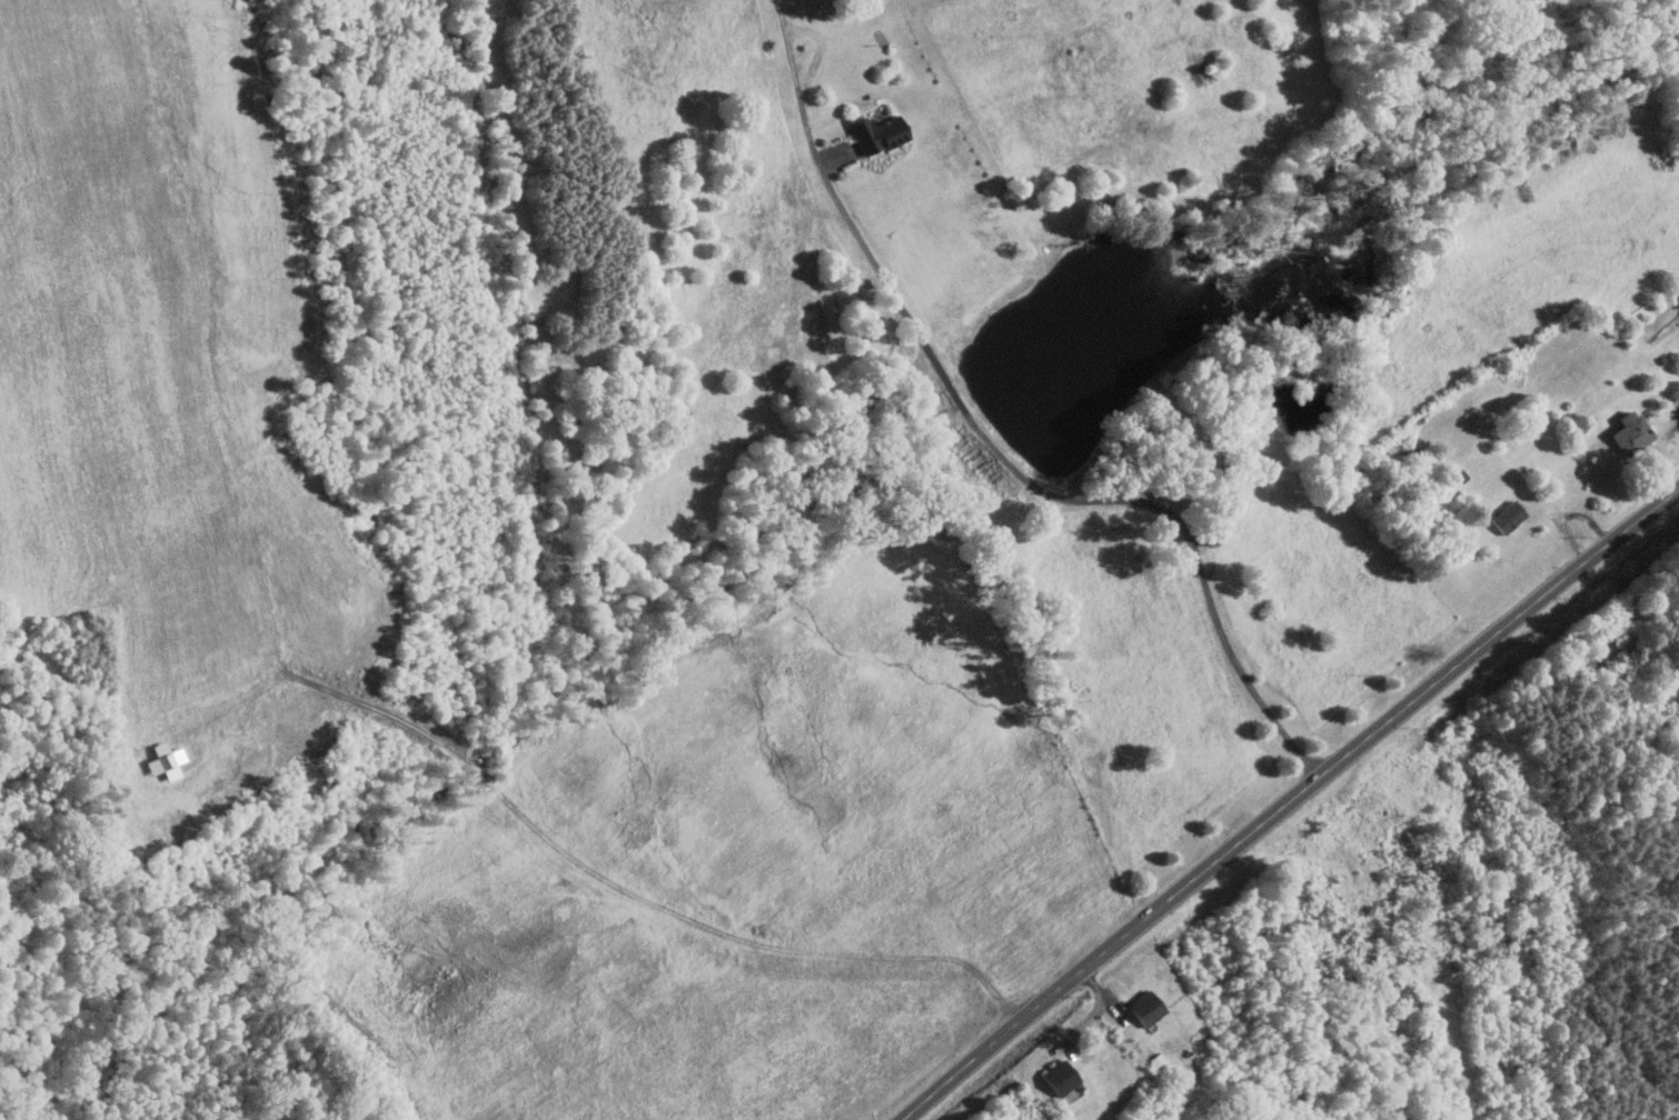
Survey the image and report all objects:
building: (875, 133)
building: (1631, 432)
road: (995, 450)
building: (1508, 516)
road: (379, 711)
building: (163, 760)
road: (473, 769)
road: (1285, 802)
road: (734, 936)
building: (1145, 1008)
building: (1059, 1077)

